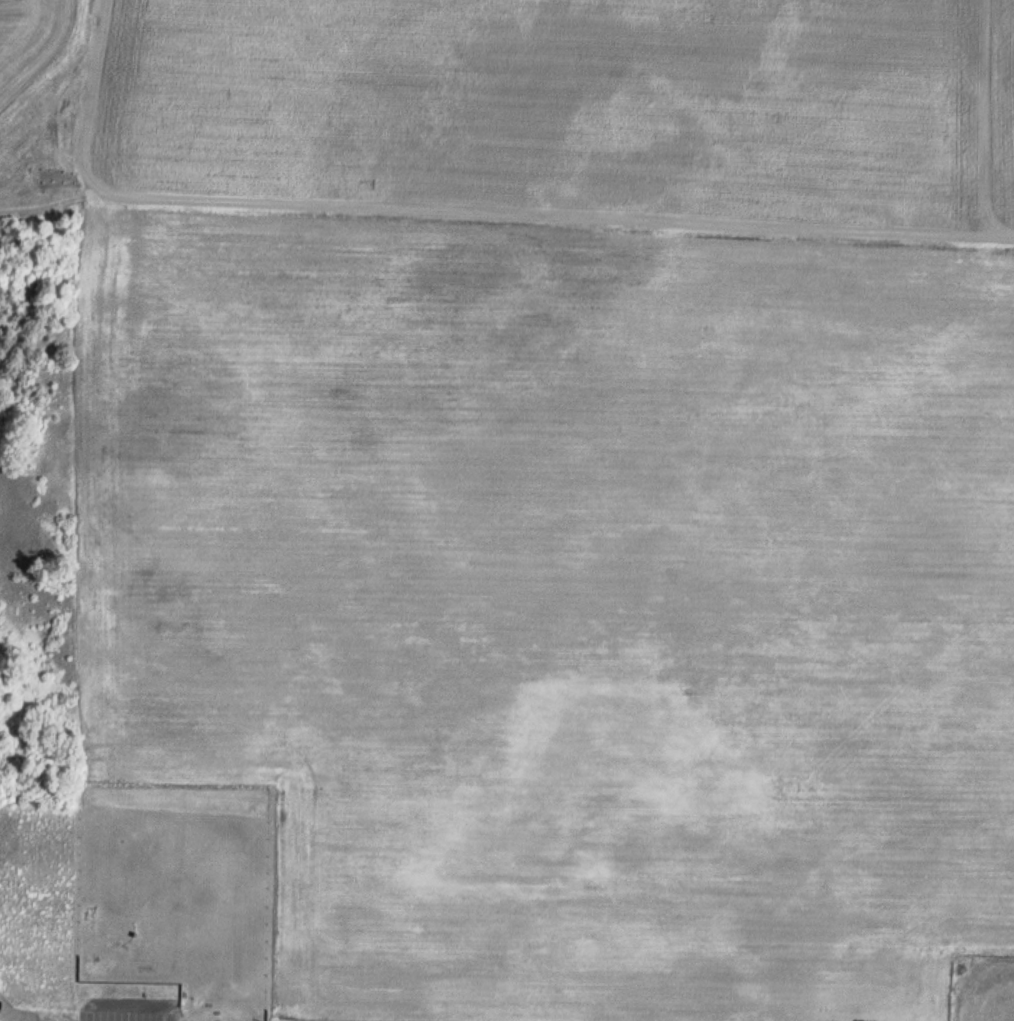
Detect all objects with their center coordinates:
building: (184, 1019)

